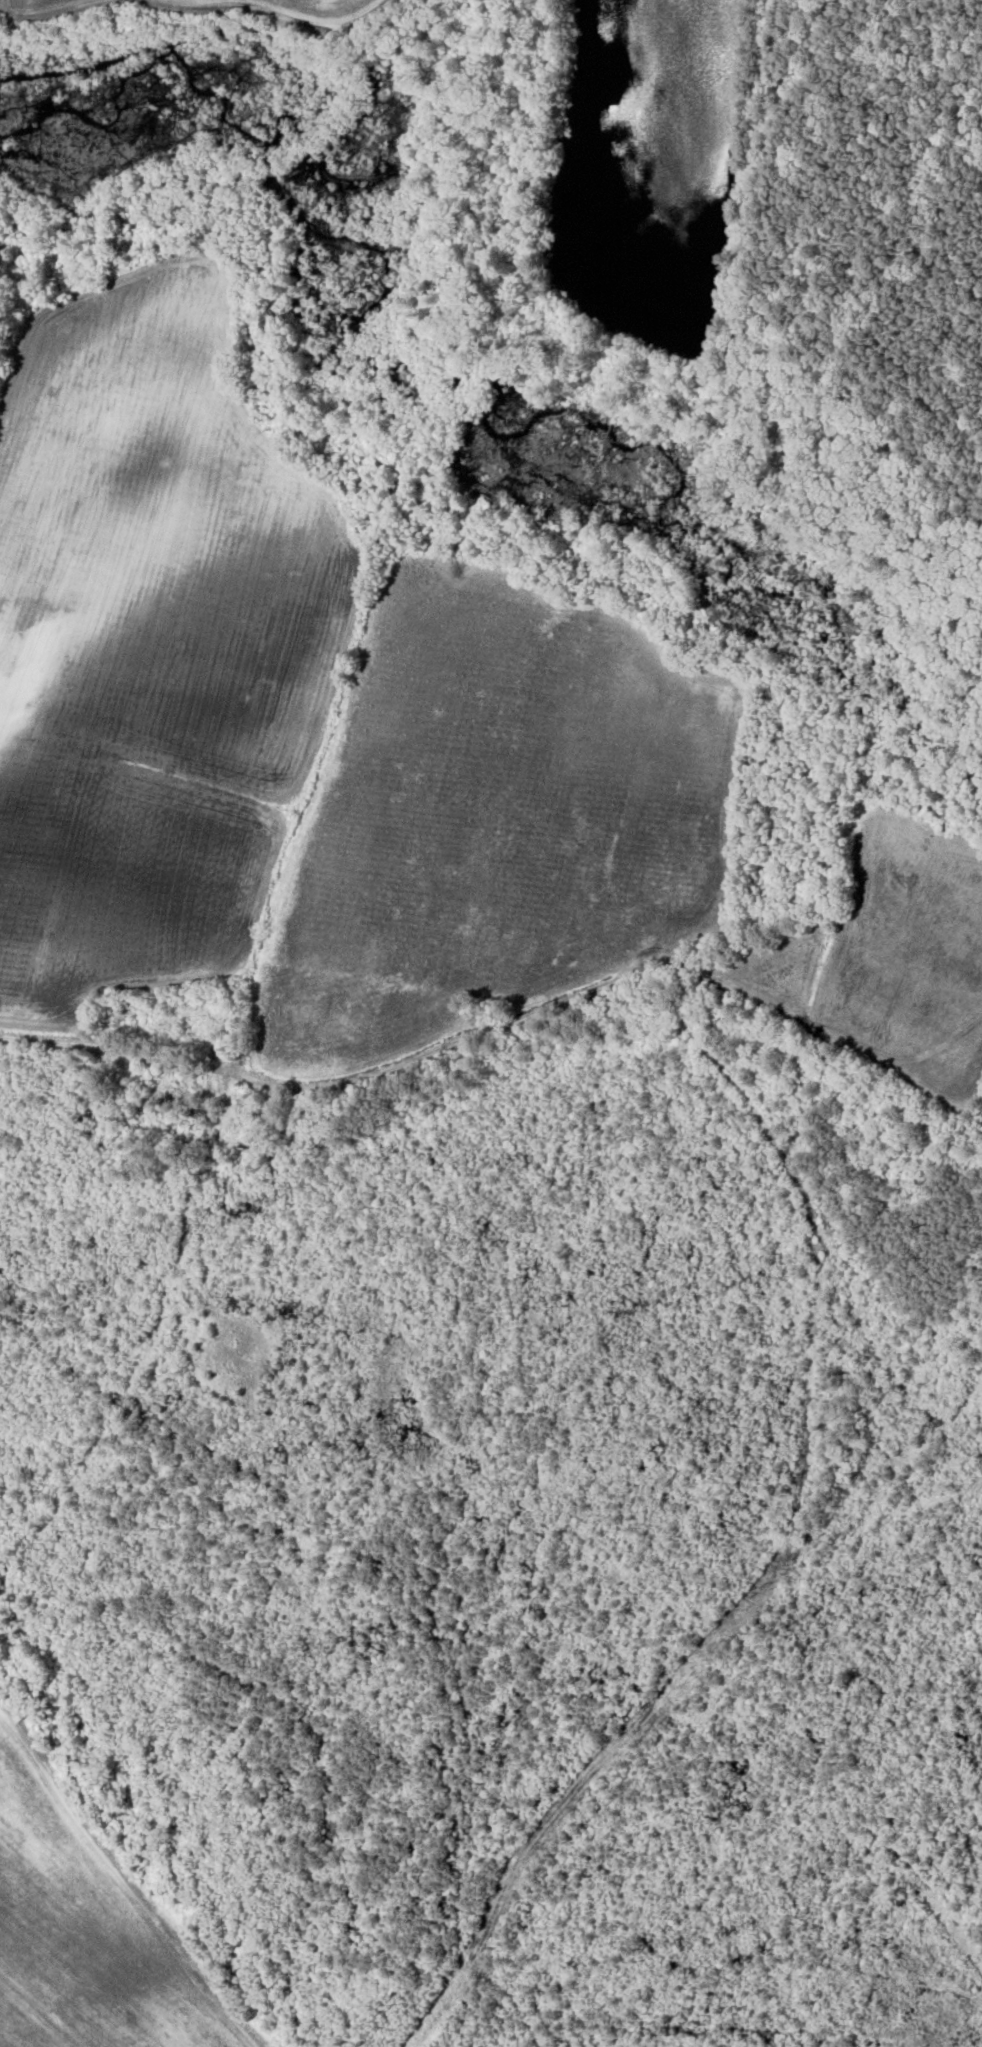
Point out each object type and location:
road: (59, 1046)
road: (126, 1884)

